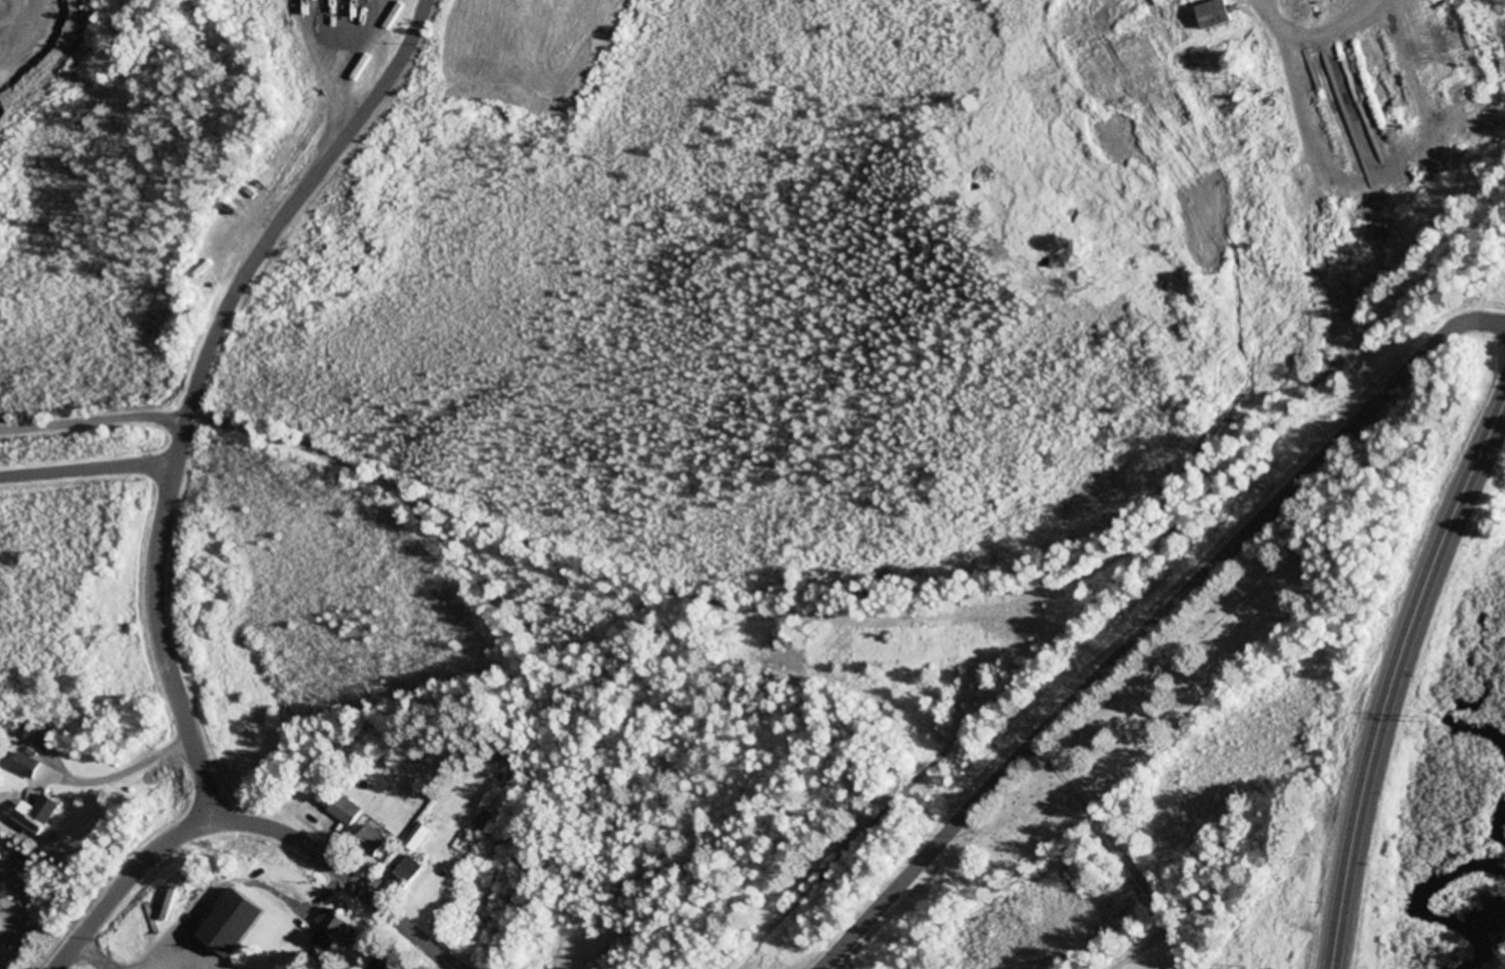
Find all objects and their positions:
building: (1218, 15)
road: (199, 381)
road: (93, 422)
road: (88, 470)
road: (1154, 633)
road: (1397, 682)
power tower: (1430, 722)
park: (1216, 738)
building: (27, 768)
building: (346, 812)
building: (45, 813)
building: (418, 837)
building: (377, 842)
road: (313, 851)
building: (407, 875)
road: (125, 881)
building: (235, 926)
building: (338, 933)
road: (426, 946)
road: (93, 956)
building: (385, 963)

